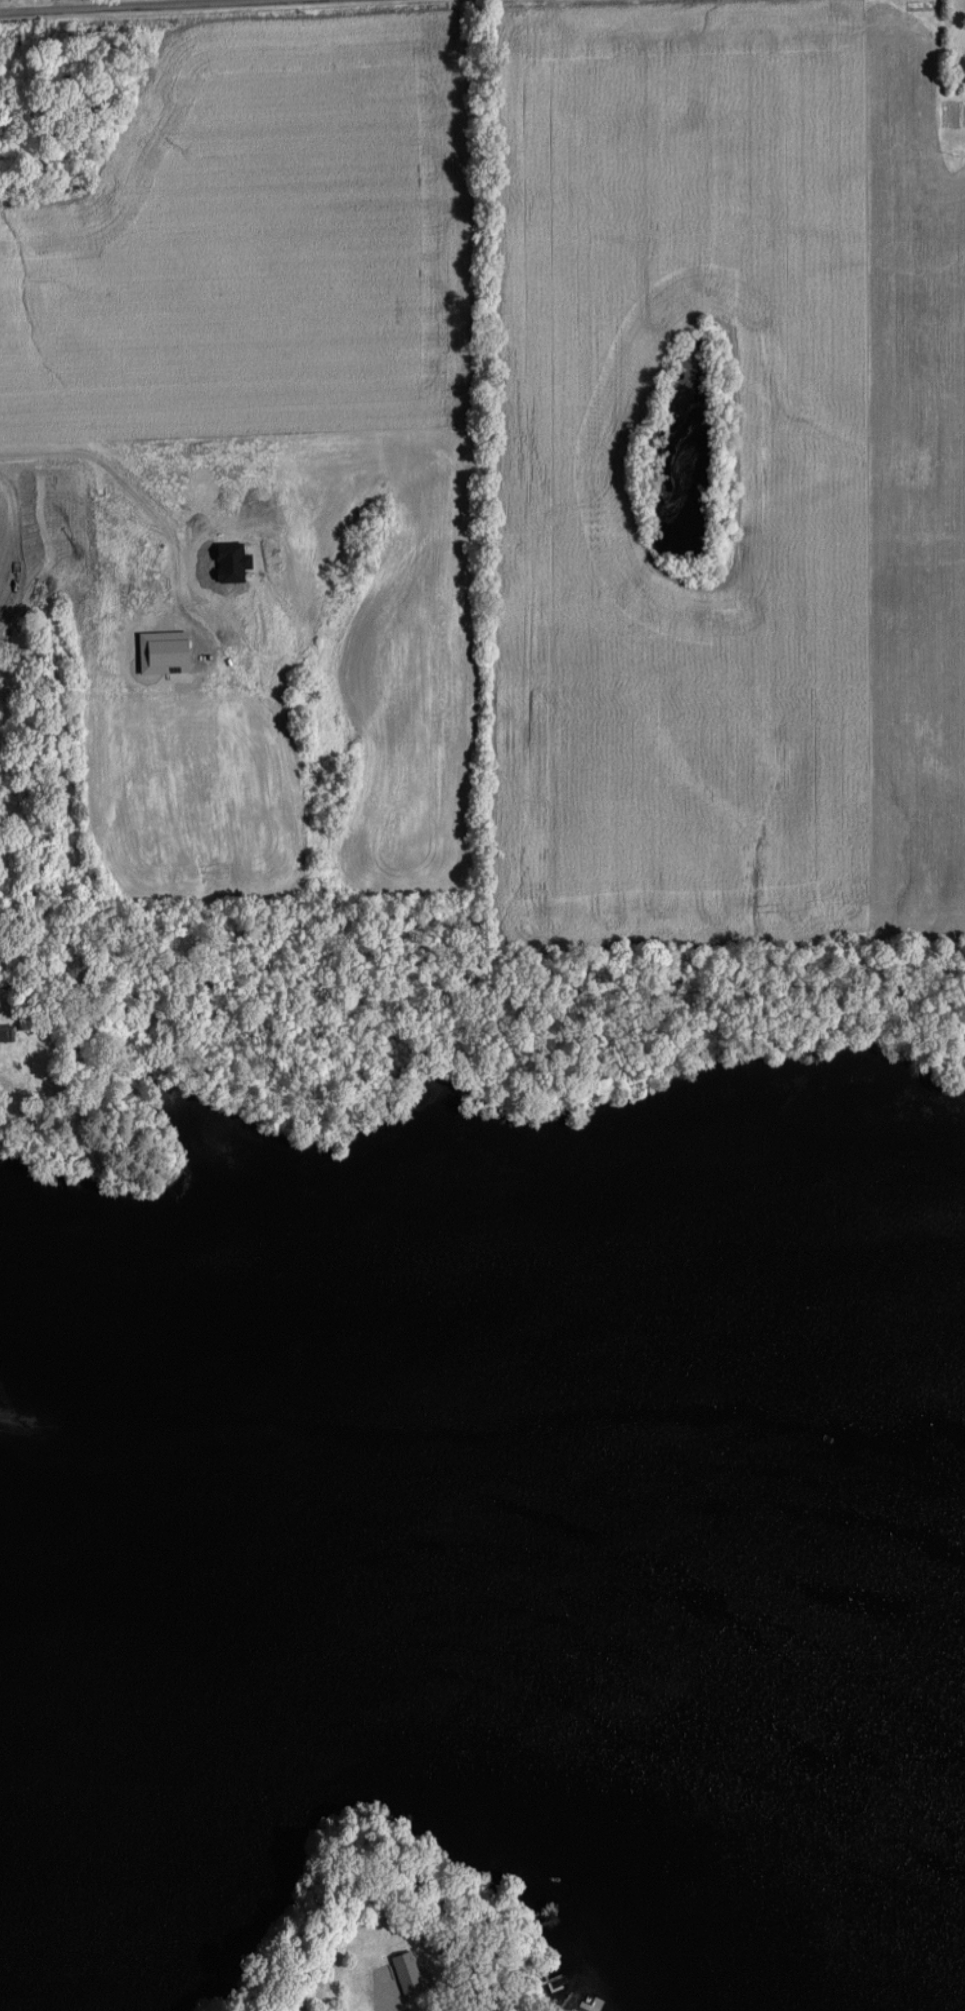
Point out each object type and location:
road: (29, 5)
road: (131, 7)
building: (964, 67)
building: (4, 1033)
building: (404, 1971)
road: (394, 2005)

